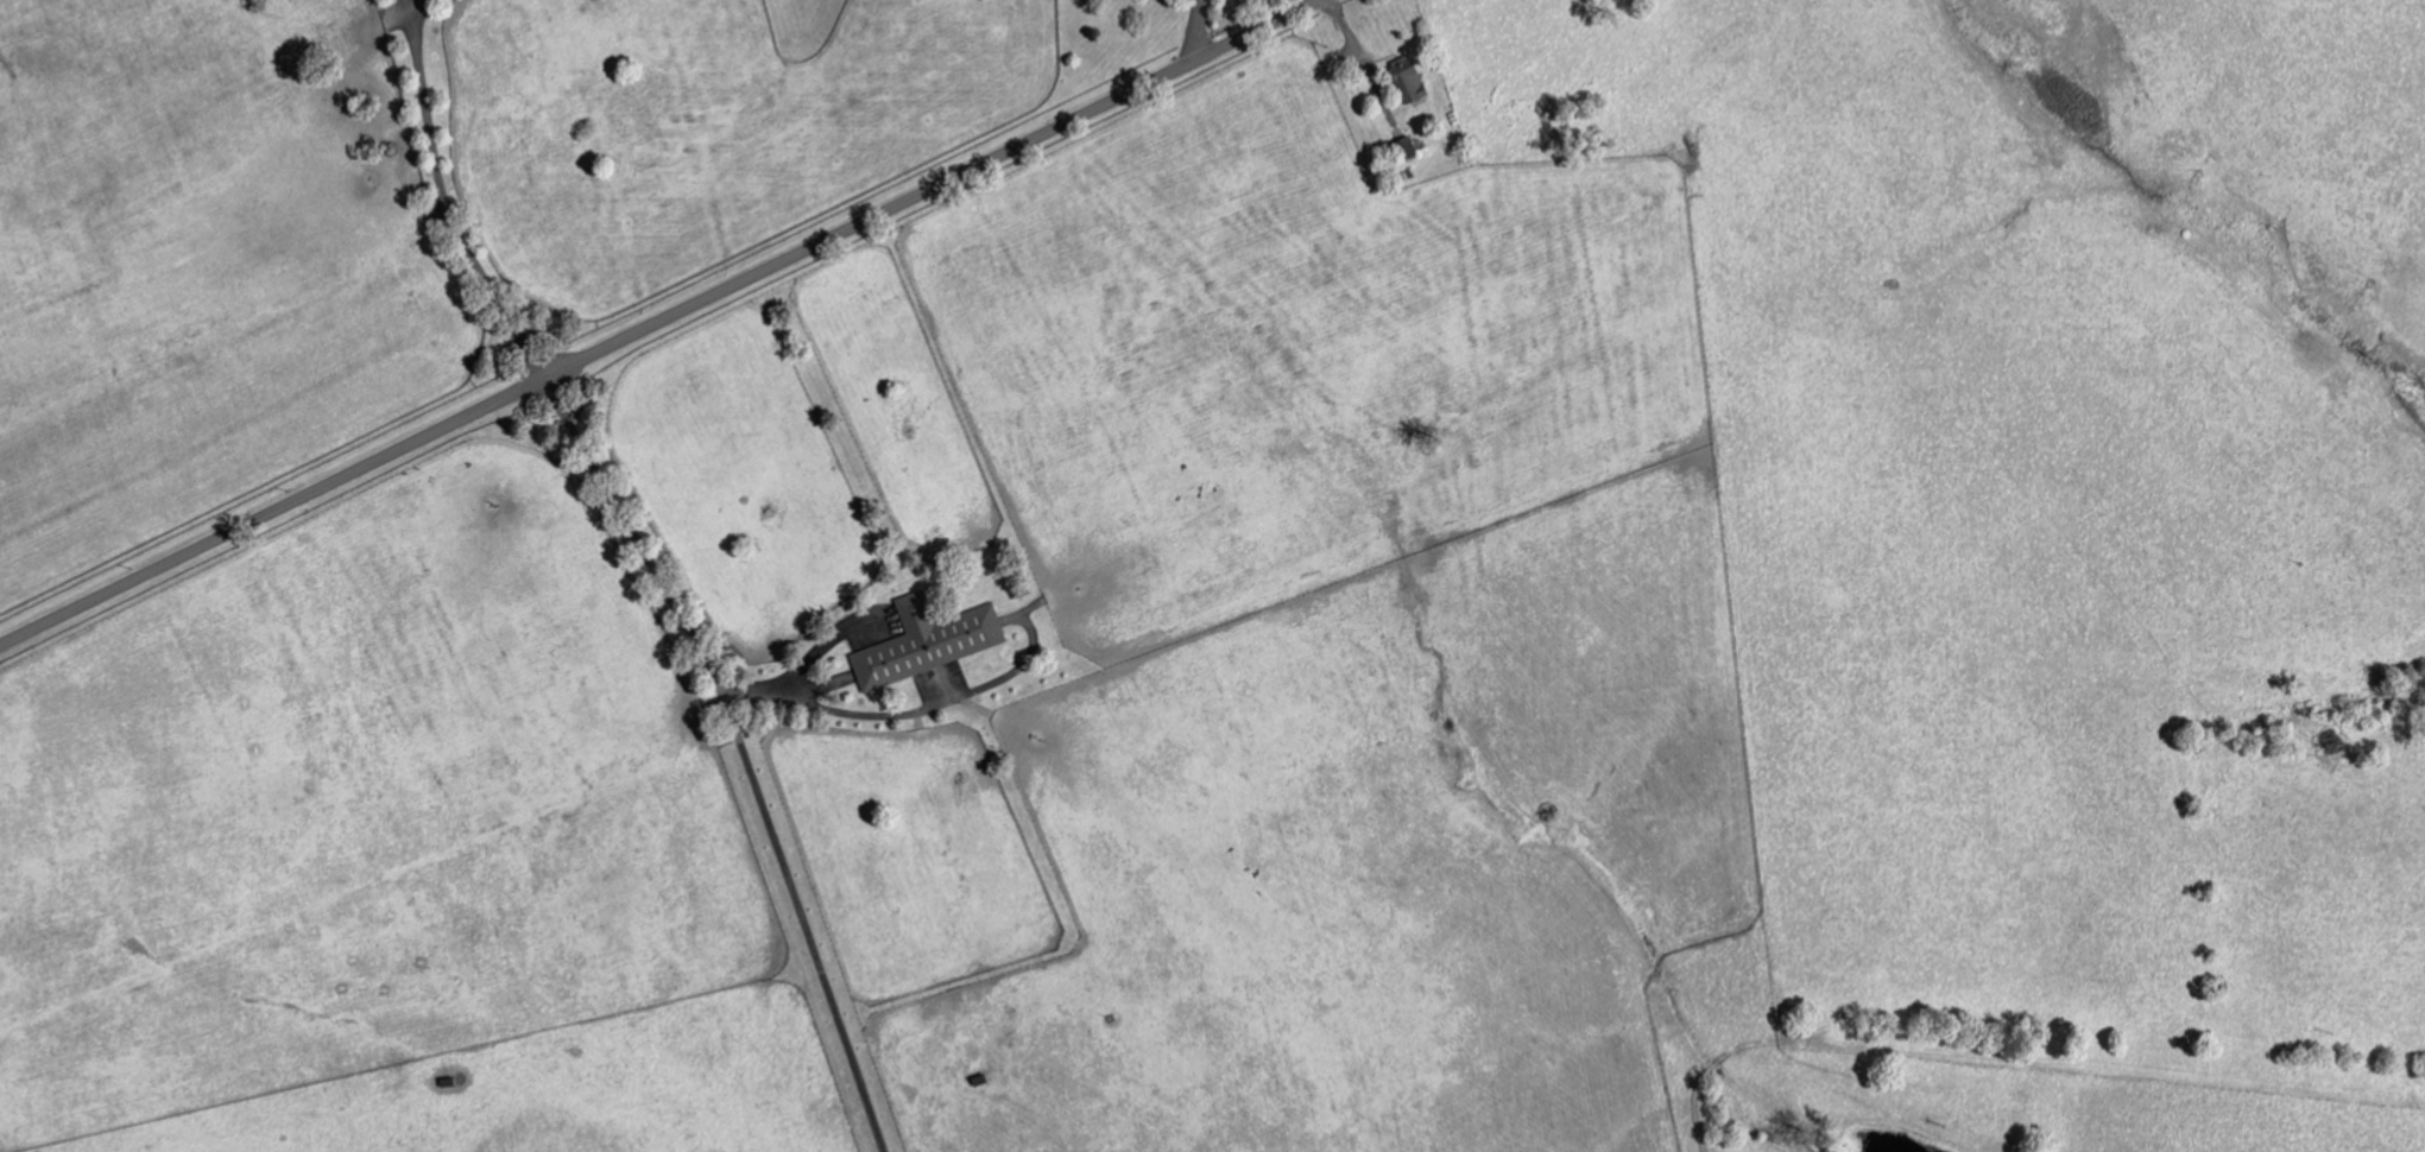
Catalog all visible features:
road: (413, 4)
road: (1196, 31)
building: (1408, 150)
road: (442, 201)
road: (661, 322)
road: (1675, 603)
building: (930, 643)
road: (821, 644)
road: (839, 707)
road: (740, 754)

